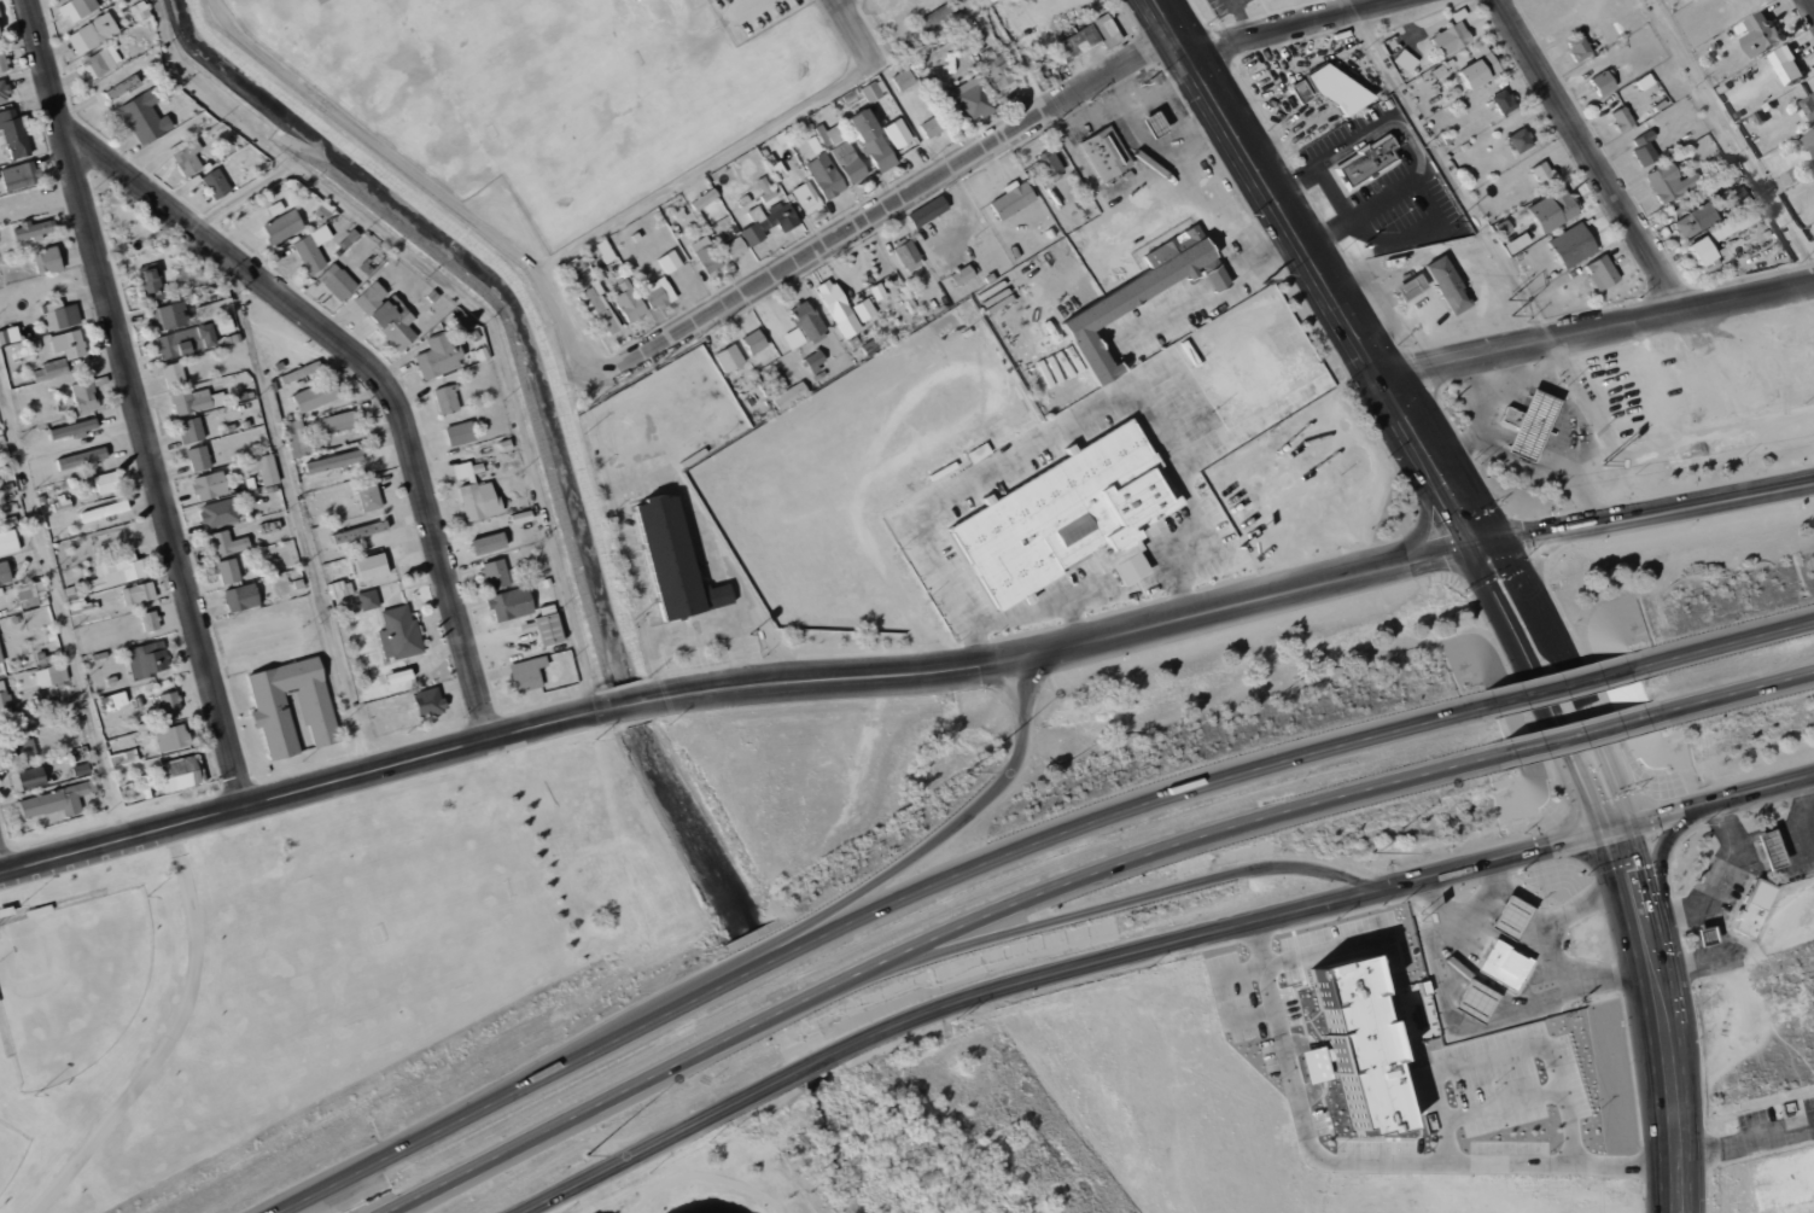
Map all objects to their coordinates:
building: (631, 0)
building: (638, 0)
building: (991, 0)
road: (1812, 2)
road: (1346, 6)
building: (76, 7)
building: (0, 17)
building: (937, 18)
road: (1291, 27)
road: (858, 28)
building: (92, 33)
building: (1761, 33)
building: (0, 35)
building: (1451, 37)
building: (1078, 41)
building: (1579, 47)
building: (1405, 60)
building: (2, 62)
building: (97, 63)
building: (1789, 65)
building: (1480, 66)
building: (999, 70)
building: (903, 78)
building: (1604, 82)
building: (2, 91)
building: (871, 91)
building: (1301, 91)
building: (968, 99)
building: (1504, 101)
building: (1810, 105)
building: (144, 117)
building: (1622, 117)
building: (1155, 123)
building: (932, 127)
building: (897, 132)
building: (12, 133)
road: (1731, 133)
building: (1810, 139)
building: (873, 140)
building: (1521, 140)
building: (1644, 148)
building: (844, 152)
building: (1106, 153)
building: (187, 157)
building: (1367, 162)
building: (1544, 173)
building: (19, 175)
building: (1795, 175)
building: (824, 176)
road: (1262, 179)
building: (1669, 181)
building: (216, 183)
building: (764, 187)
building: (1737, 196)
building: (805, 197)
building: (704, 198)
road: (905, 199)
building: (1013, 199)
building: (1553, 209)
building: (928, 211)
road: (1631, 215)
building: (1695, 220)
building: (768, 221)
building: (282, 226)
building: (35, 228)
building: (1717, 238)
building: (1517, 243)
building: (1573, 244)
building: (734, 246)
building: (311, 247)
building: (605, 250)
building: (706, 253)
building: (908, 255)
building: (47, 259)
building: (669, 261)
building: (576, 272)
building: (1600, 272)
building: (962, 274)
building: (337, 281)
building: (1448, 284)
building: (151, 285)
building: (1411, 286)
building: (660, 291)
building: (1139, 294)
building: (371, 296)
building: (629, 302)
building: (600, 308)
building: (838, 308)
building: (215, 309)
building: (863, 309)
building: (59, 315)
building: (167, 315)
building: (395, 321)
building: (807, 321)
building: (223, 325)
road: (1599, 332)
building: (793, 337)
building: (186, 340)
building: (754, 340)
building: (68, 343)
building: (438, 356)
building: (729, 357)
building: (815, 360)
road: (372, 368)
building: (51, 369)
building: (174, 374)
building: (84, 395)
building: (315, 395)
building: (789, 395)
building: (447, 398)
road: (138, 401)
building: (196, 401)
river: (552, 403)
building: (1511, 415)
building: (333, 422)
building: (1534, 425)
building: (74, 428)
building: (189, 430)
building: (460, 433)
building: (296, 438)
road: (1429, 451)
building: (82, 457)
building: (198, 457)
building: (333, 461)
building: (263, 468)
road: (1405, 468)
building: (106, 482)
building: (209, 485)
building: (476, 494)
building: (369, 497)
building: (104, 511)
building: (218, 512)
road: (293, 514)
road: (1649, 514)
building: (1067, 517)
building: (8, 542)
building: (224, 543)
building: (489, 543)
traffic signals: (1486, 547)
building: (675, 560)
road: (1538, 568)
building: (372, 570)
building: (118, 571)
building: (227, 571)
building: (495, 573)
building: (4, 575)
building: (337, 589)
building: (138, 593)
building: (31, 594)
building: (241, 597)
building: (368, 599)
road: (1253, 601)
building: (511, 603)
road: (62, 608)
building: (150, 620)
building: (398, 632)
road: (1739, 637)
building: (147, 659)
building: (0, 660)
building: (527, 672)
building: (51, 675)
road: (1570, 676)
road: (1748, 687)
road: (1541, 688)
road: (1548, 688)
building: (269, 700)
building: (169, 702)
building: (428, 702)
building: (5, 704)
road: (504, 734)
road: (1563, 735)
building: (171, 737)
building: (23, 750)
building: (123, 758)
building: (181, 772)
building: (28, 778)
road: (1721, 798)
building: (54, 800)
traffic signals: (1631, 822)
traffic signals: (1603, 830)
road: (1669, 840)
building: (1772, 848)
road: (1505, 856)
road: (0, 867)
road: (1649, 887)
road: (1620, 897)
road: (1103, 905)
building: (1755, 908)
building: (1509, 917)
road: (835, 926)
building: (1709, 937)
park: (385, 943)
road: (897, 951)
road: (742, 954)
building: (1503, 964)
park: (72, 981)
building: (1474, 1003)
road: (938, 1011)
river: (816, 1013)
road: (171, 1038)
building: (1361, 1045)
building: (1317, 1065)
road: (1670, 1083)
park: (893, 1147)
park: (10, 1151)
road: (1375, 1164)
road: (707, 1177)

